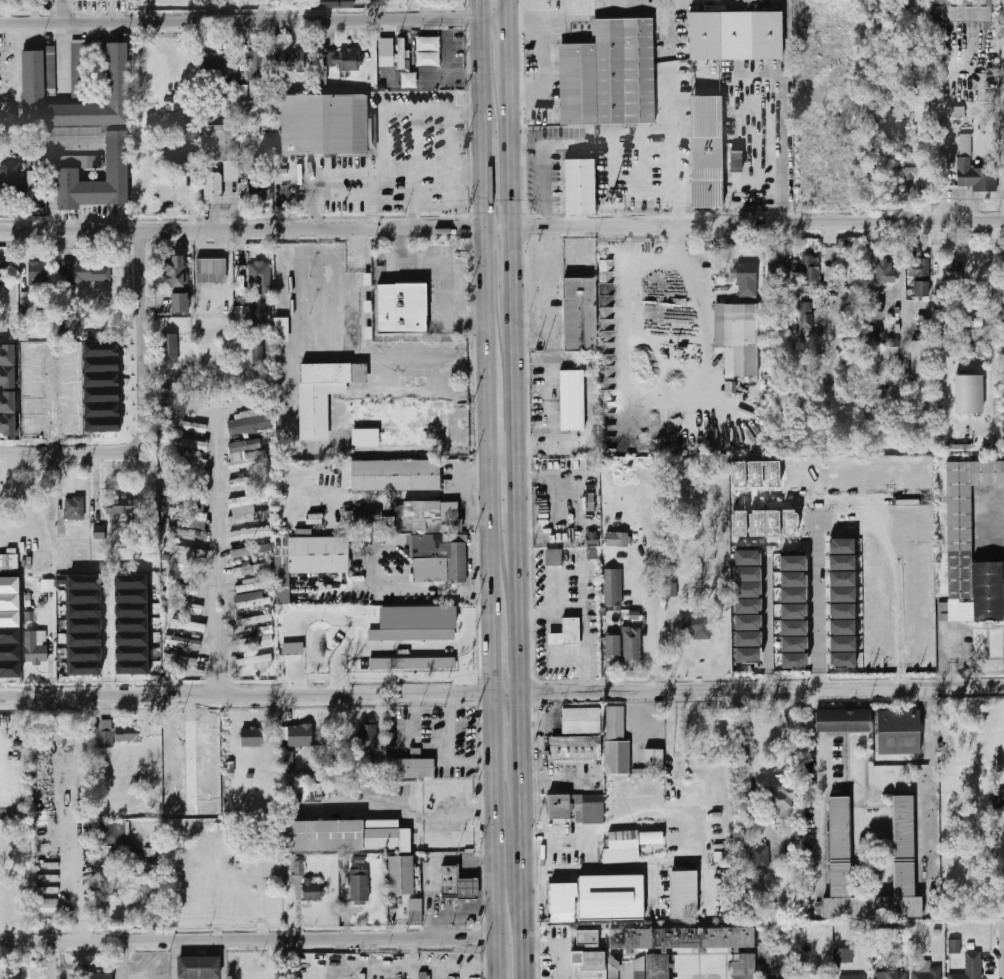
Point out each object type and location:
building: (330, 2)
road: (482, 10)
road: (510, 10)
building: (961, 10)
road: (62, 13)
road: (255, 23)
building: (735, 35)
road: (511, 38)
building: (427, 51)
building: (385, 52)
building: (400, 53)
road: (61, 58)
building: (344, 59)
building: (288, 60)
building: (212, 62)
building: (257, 65)
building: (77, 69)
building: (609, 74)
road: (483, 76)
building: (32, 77)
building: (242, 90)
road: (403, 108)
building: (246, 110)
building: (954, 111)
building: (870, 114)
building: (321, 124)
building: (896, 124)
road: (514, 138)
road: (939, 138)
road: (450, 139)
building: (220, 143)
building: (964, 144)
road: (780, 145)
building: (249, 151)
building: (705, 152)
building: (177, 159)
building: (735, 161)
road: (670, 169)
road: (416, 171)
road: (543, 172)
building: (916, 174)
building: (68, 175)
building: (975, 176)
road: (484, 177)
building: (11, 180)
building: (31, 184)
building: (212, 187)
building: (579, 187)
road: (341, 193)
building: (264, 195)
road: (411, 197)
road: (675, 215)
road: (501, 221)
road: (517, 256)
road: (445, 264)
building: (918, 267)
building: (809, 269)
building: (212, 271)
building: (776, 271)
building: (884, 271)
building: (953, 271)
building: (38, 273)
building: (87, 273)
building: (175, 273)
building: (260, 275)
building: (744, 275)
building: (2, 279)
road: (544, 284)
building: (920, 288)
road: (485, 295)
building: (305, 301)
building: (24, 303)
building: (178, 304)
building: (400, 308)
building: (872, 311)
road: (517, 312)
building: (252, 313)
building: (578, 315)
building: (805, 316)
building: (74, 326)
building: (280, 330)
road: (143, 336)
building: (736, 337)
building: (980, 348)
building: (98, 349)
building: (169, 350)
building: (67, 351)
building: (31, 352)
building: (258, 356)
building: (920, 358)
building: (886, 363)
building: (99, 364)
building: (7, 366)
building: (67, 369)
building: (31, 370)
building: (99, 379)
building: (31, 388)
building: (67, 388)
building: (968, 393)
building: (876, 394)
building: (99, 395)
building: (323, 395)
road: (518, 395)
building: (571, 400)
building: (66, 405)
road: (489, 405)
road: (663, 405)
building: (31, 407)
building: (100, 410)
building: (8, 413)
building: (184, 423)
building: (67, 424)
building: (100, 425)
building: (246, 425)
building: (32, 426)
building: (365, 438)
building: (184, 442)
building: (243, 446)
road: (71, 454)
road: (504, 458)
building: (251, 460)
building: (195, 467)
building: (923, 472)
building: (737, 473)
building: (755, 473)
building: (771, 473)
building: (907, 473)
building: (788, 474)
building: (805, 474)
building: (823, 474)
building: (838, 474)
building: (855, 474)
building: (889, 474)
building: (395, 475)
building: (872, 475)
building: (247, 481)
road: (519, 485)
building: (171, 495)
building: (249, 500)
building: (196, 501)
building: (123, 505)
road: (29, 508)
building: (74, 509)
building: (361, 519)
building: (198, 520)
road: (490, 521)
building: (389, 522)
building: (843, 522)
building: (860, 522)
building: (907, 522)
building: (924, 522)
building: (738, 523)
building: (756, 523)
building: (772, 523)
building: (789, 523)
building: (876, 523)
building: (892, 523)
building: (263, 531)
building: (98, 532)
building: (188, 533)
building: (239, 536)
building: (618, 540)
building: (841, 546)
building: (970, 548)
building: (249, 551)
building: (190, 553)
building: (318, 555)
building: (571, 556)
road: (222, 557)
building: (747, 557)
building: (437, 558)
building: (878, 558)
building: (842, 562)
building: (8, 563)
building: (793, 563)
building: (253, 570)
building: (747, 573)
building: (878, 573)
building: (842, 578)
building: (792, 579)
building: (129, 581)
building: (82, 583)
building: (9, 585)
building: (47, 585)
building: (254, 585)
building: (613, 587)
building: (182, 589)
building: (747, 589)
road: (401, 590)
building: (878, 590)
building: (670, 591)
building: (792, 595)
building: (842, 595)
building: (130, 596)
building: (82, 597)
building: (251, 600)
building: (8, 602)
road: (520, 602)
building: (747, 605)
building: (879, 605)
building: (187, 607)
building: (130, 610)
building: (842, 610)
building: (82, 611)
building: (793, 611)
building: (30, 616)
road: (333, 616)
building: (9, 618)
building: (255, 621)
building: (747, 622)
road: (820, 622)
building: (879, 622)
building: (130, 624)
road: (651, 625)
building: (82, 626)
building: (190, 626)
building: (695, 626)
road: (767, 626)
building: (794, 627)
building: (842, 627)
building: (566, 632)
building: (9, 635)
building: (130, 638)
building: (747, 638)
building: (879, 638)
building: (82, 640)
building: (252, 642)
building: (183, 643)
building: (843, 643)
building: (631, 644)
building: (794, 644)
building: (36, 646)
building: (613, 646)
road: (492, 647)
road: (428, 648)
building: (9, 652)
building: (130, 653)
building: (83, 654)
building: (747, 655)
building: (879, 655)
building: (255, 660)
building: (794, 660)
building: (841, 660)
building: (178, 661)
building: (130, 667)
building: (9, 669)
building: (83, 669)
road: (108, 671)
road: (502, 693)
building: (582, 721)
building: (616, 722)
building: (843, 722)
road: (521, 723)
building: (207, 727)
building: (171, 729)
building: (898, 732)
building: (106, 734)
building: (128, 734)
building: (178, 735)
building: (300, 736)
building: (367, 736)
building: (252, 737)
building: (207, 748)
road: (451, 748)
building: (576, 748)
building: (171, 749)
building: (617, 757)
building: (654, 760)
building: (289, 764)
building: (208, 768)
building: (411, 768)
building: (172, 769)
building: (314, 775)
road: (820, 786)
building: (172, 788)
building: (208, 789)
building: (307, 792)
building: (997, 799)
building: (781, 801)
building: (576, 807)
building: (172, 808)
building: (208, 809)
road: (414, 813)
road: (494, 819)
building: (903, 826)
building: (839, 828)
building: (347, 835)
road: (559, 835)
building: (653, 837)
building: (121, 846)
building: (622, 847)
road: (539, 854)
building: (722, 856)
building: (760, 857)
road: (524, 865)
road: (611, 869)
building: (401, 875)
building: (447, 881)
building: (359, 886)
building: (466, 888)
gas station: (466, 888)
building: (312, 889)
building: (47, 890)
building: (685, 894)
road: (540, 895)
building: (599, 898)
building: (47, 905)
building: (414, 910)
building: (937, 932)
road: (248, 941)
building: (893, 943)
building: (684, 947)
building: (954, 947)
building: (765, 955)
building: (843, 956)
building: (588, 957)
road: (126, 960)
road: (173, 960)
road: (222, 960)
road: (498, 961)
building: (197, 967)
building: (971, 967)
road: (465, 968)
building: (613, 968)
building: (926, 970)
road: (142, 971)
building: (97, 975)
building: (424, 975)
building: (805, 975)
building: (891, 975)
building: (778, 976)
building: (853, 977)

